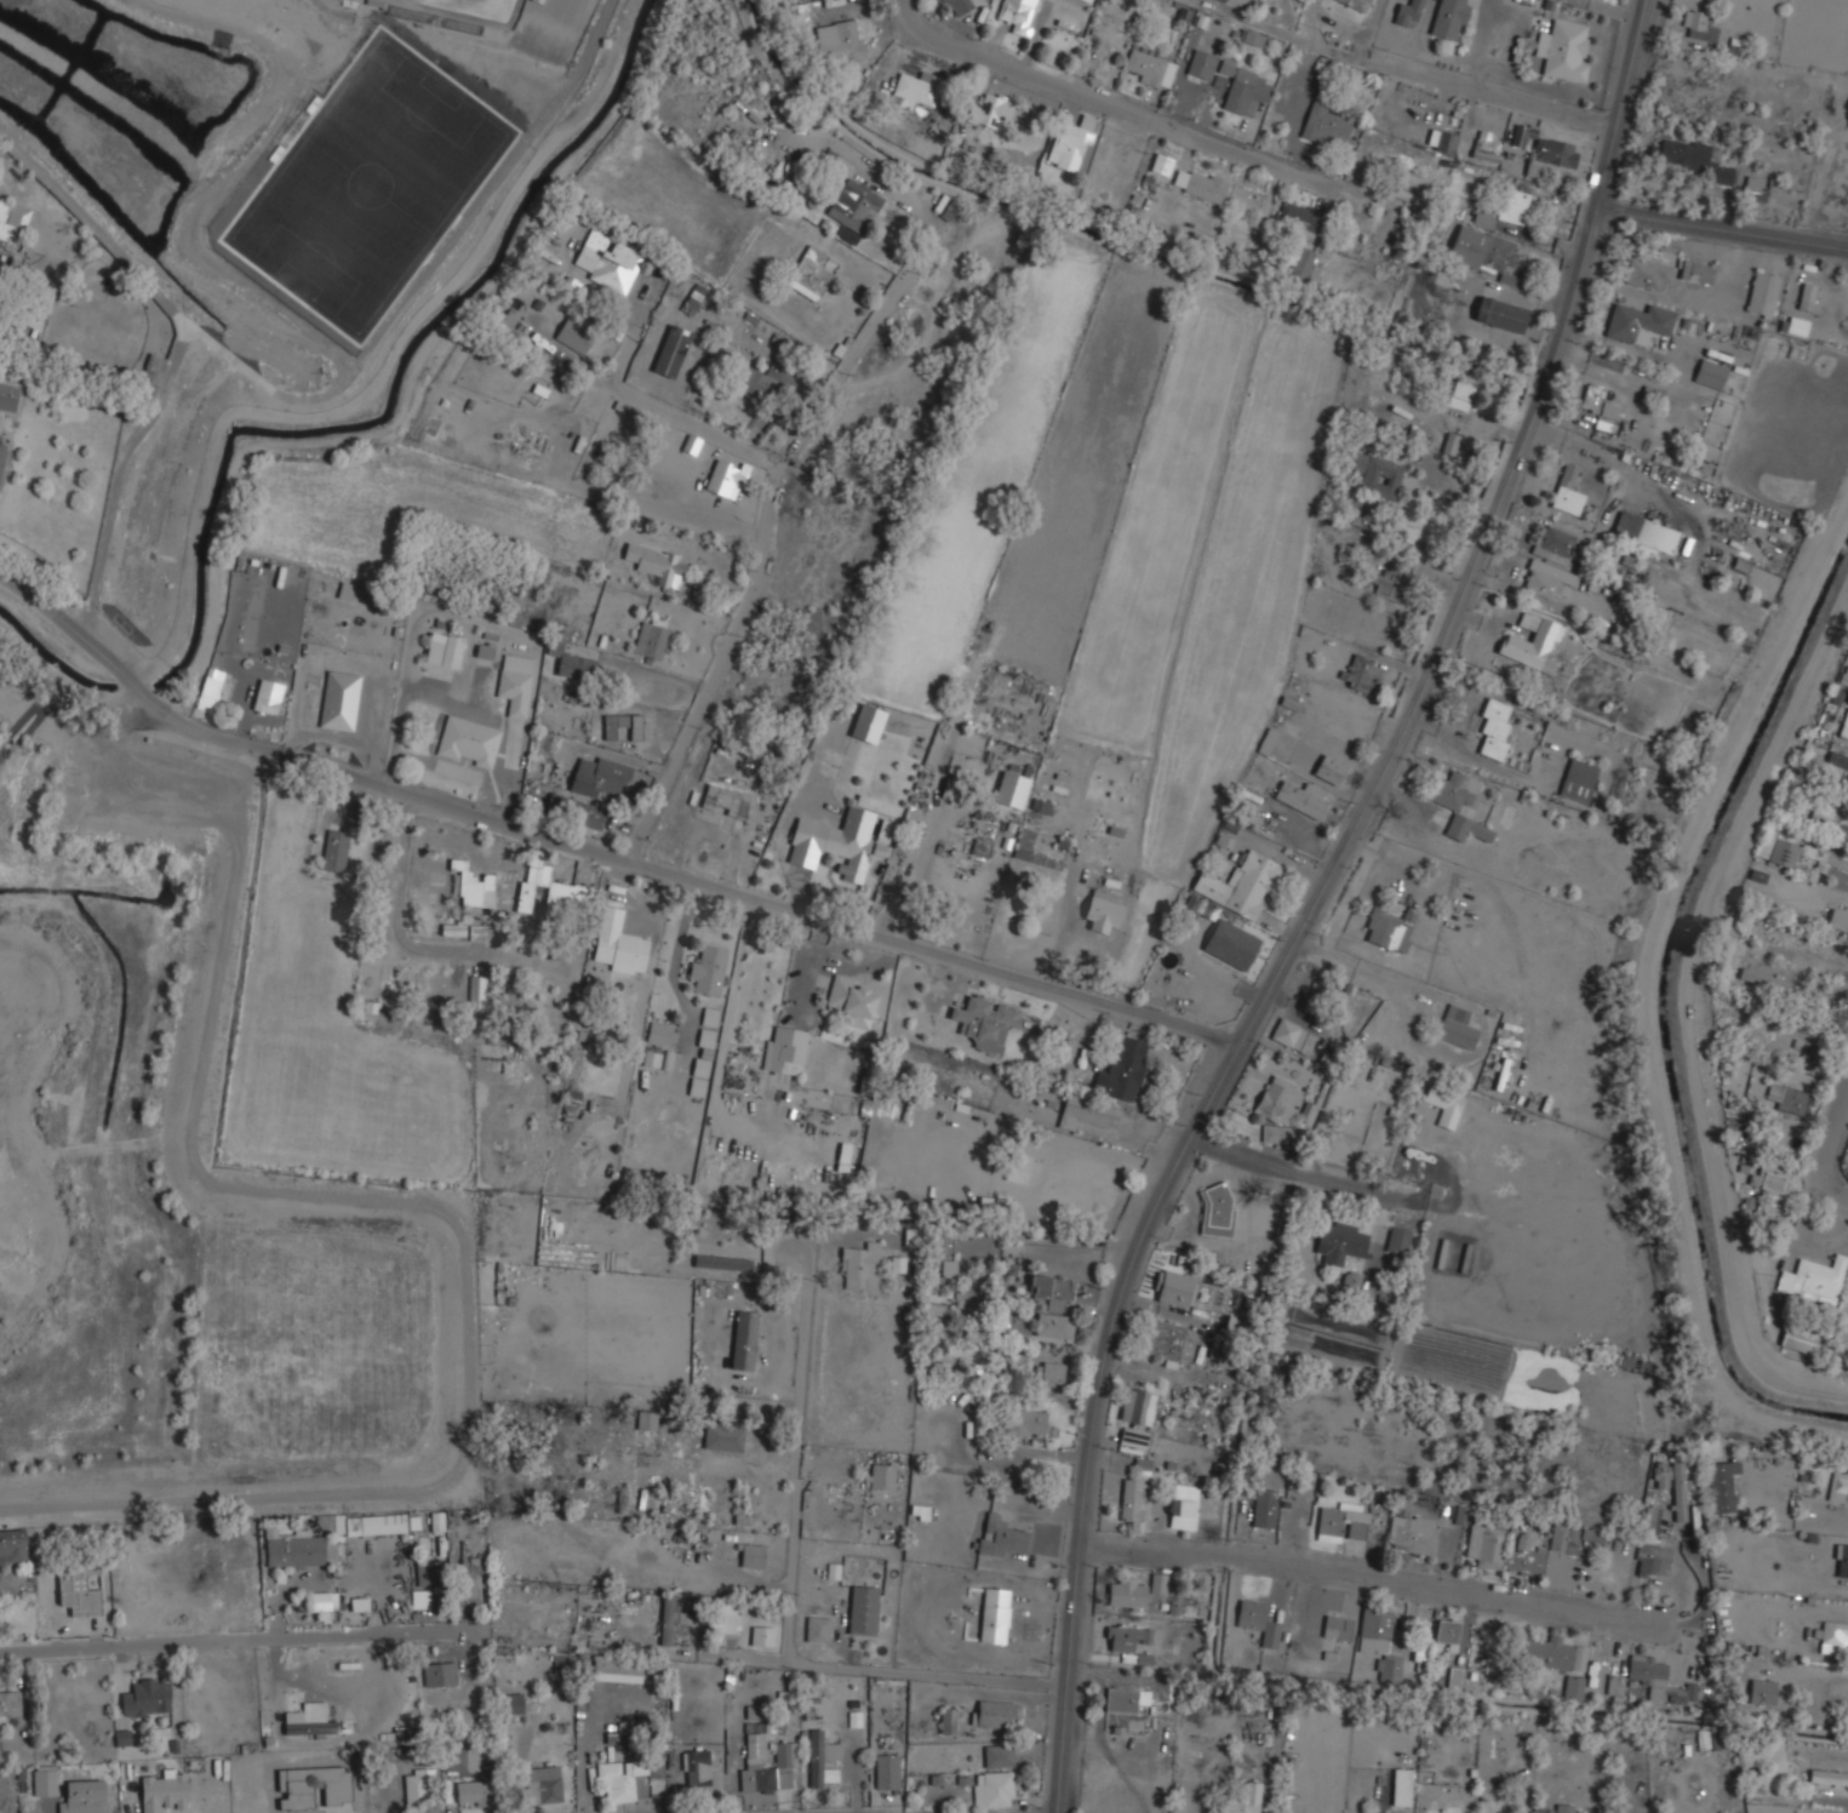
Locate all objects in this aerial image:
building: (1086, 0)
road: (206, 1)
building: (1357, 4)
building: (959, 6)
park: (467, 10)
building: (1407, 11)
building: (1017, 15)
building: (1449, 18)
park: (554, 19)
building: (1700, 25)
building: (839, 41)
building: (1563, 51)
building: (1201, 64)
building: (1150, 69)
road: (1423, 73)
road: (595, 90)
building: (915, 91)
building: (1245, 91)
road: (1121, 105)
road: (536, 109)
building: (989, 110)
building: (1328, 126)
building: (1522, 133)
building: (1070, 142)
building: (1444, 142)
building: (1486, 147)
building: (1550, 154)
building: (1690, 159)
building: (1161, 164)
building: (1198, 184)
park: (368, 185)
building: (1753, 189)
building: (853, 206)
building: (1511, 206)
building: (1482, 218)
building: (11, 221)
building: (1298, 221)
road: (1722, 224)
road: (459, 225)
building: (1482, 250)
building: (607, 262)
building: (1300, 264)
building: (1695, 271)
building: (809, 274)
building: (1646, 274)
building: (1762, 292)
building: (1808, 296)
building: (693, 299)
building: (1500, 314)
building: (1638, 322)
road: (293, 333)
building: (573, 334)
road: (176, 356)
road: (231, 360)
building: (1710, 373)
building: (150, 374)
building: (765, 381)
building: (1460, 394)
building: (7, 398)
building: (1596, 400)
road: (664, 408)
building: (1606, 417)
building: (1451, 444)
building: (2, 448)
building: (1372, 473)
building: (726, 479)
building: (1567, 491)
road: (708, 514)
building: (1644, 532)
building: (1552, 543)
building: (656, 564)
road: (5, 565)
road: (761, 565)
building: (1545, 579)
building: (1390, 580)
building: (651, 640)
building: (1531, 642)
building: (554, 648)
building: (444, 650)
building: (485, 652)
building: (576, 667)
building: (515, 684)
building: (211, 690)
building: (268, 697)
building: (339, 700)
building: (868, 724)
building: (1844, 725)
building: (1494, 726)
building: (635, 727)
building: (1268, 738)
building: (468, 740)
building: (1837, 760)
building: (1333, 771)
building: (600, 777)
building: (1578, 779)
building: (1011, 789)
building: (1301, 799)
building: (726, 800)
building: (1451, 807)
building: (580, 812)
building: (1825, 812)
building: (1024, 841)
building: (834, 842)
building: (334, 850)
building: (373, 851)
road: (597, 852)
building: (1792, 852)
building: (473, 885)
building: (1241, 885)
building: (545, 890)
road: (1320, 902)
road: (401, 910)
building: (1838, 920)
building: (1388, 928)
building: (616, 943)
building: (1231, 944)
road: (679, 946)
building: (708, 968)
road: (1367, 968)
building: (1764, 980)
building: (368, 984)
building: (476, 991)
building: (849, 996)
building: (1827, 1012)
building: (709, 1017)
building: (985, 1022)
building: (1455, 1026)
building: (658, 1033)
building: (1287, 1033)
building: (783, 1048)
building: (651, 1058)
building: (700, 1063)
building: (1122, 1070)
road: (622, 1093)
building: (1437, 1098)
building: (1787, 1098)
building: (1277, 1102)
building: (1082, 1110)
building: (1737, 1131)
building: (1277, 1134)
road: (1831, 1137)
building: (1743, 1163)
building: (1019, 1166)
building: (1404, 1168)
road: (1301, 1173)
building: (1767, 1180)
road: (1837, 1193)
building: (1058, 1201)
building: (1215, 1209)
building: (911, 1236)
building: (1397, 1240)
building: (1340, 1243)
building: (722, 1263)
building: (859, 1266)
building: (1813, 1280)
building: (1172, 1287)
building: (1051, 1292)
building: (933, 1310)
building: (696, 1322)
building: (1054, 1325)
building: (742, 1338)
building: (1803, 1340)
building: (1171, 1342)
building: (1052, 1372)
building: (1137, 1406)
building: (646, 1419)
building: (1026, 1423)
building: (722, 1437)
building: (1133, 1437)
road: (796, 1445)
building: (1660, 1466)
building: (877, 1475)
building: (1721, 1485)
building: (1838, 1485)
building: (1678, 1491)
building: (620, 1499)
building: (1132, 1499)
building: (1182, 1505)
building: (1263, 1508)
building: (738, 1515)
building: (1461, 1515)
building: (1652, 1519)
building: (436, 1521)
building: (337, 1523)
building: (382, 1523)
building: (1340, 1523)
building: (1412, 1532)
building: (999, 1535)
building: (1592, 1535)
building: (1563, 1538)
building: (12, 1546)
building: (293, 1548)
building: (1500, 1549)
building: (750, 1555)
building: (1652, 1560)
building: (1841, 1560)
building: (424, 1569)
building: (234, 1572)
road: (1363, 1575)
building: (468, 1582)
building: (1160, 1584)
building: (79, 1588)
building: (1126, 1592)
building: (320, 1601)
building: (359, 1603)
building: (862, 1609)
building: (994, 1614)
building: (666, 1617)
building: (723, 1619)
building: (1259, 1620)
building: (1337, 1626)
building: (816, 1629)
building: (1447, 1629)
building: (760, 1635)
building: (1832, 1635)
building: (1125, 1636)
road: (219, 1641)
building: (1378, 1641)
building: (1554, 1653)
road: (698, 1654)
building: (1144, 1659)
building: (1491, 1663)
building: (562, 1665)
building: (616, 1669)
road: (926, 1672)
building: (439, 1674)
building: (1648, 1675)
building: (1454, 1676)
building: (1614, 1685)
building: (1573, 1687)
building: (1762, 1691)
building: (207, 1695)
building: (1681, 1695)
building: (147, 1697)
building: (1123, 1699)
building: (511, 1703)
building: (8, 1705)
building: (996, 1714)
building: (946, 1720)
building: (652, 1721)
building: (310, 1727)
building: (121, 1738)
building: (1707, 1738)
building: (785, 1754)
building: (997, 1755)
building: (819, 1756)
building: (459, 1758)
building: (885, 1771)
building: (696, 1772)
building: (1827, 1777)
building: (631, 1779)
building: (42, 1780)
building: (417, 1784)
building: (543, 1784)
building: (1401, 1788)
building: (991, 1789)
building: (164, 1792)
building: (473, 1792)
building: (84, 1797)
building: (1242, 1800)
building: (1562, 1808)

